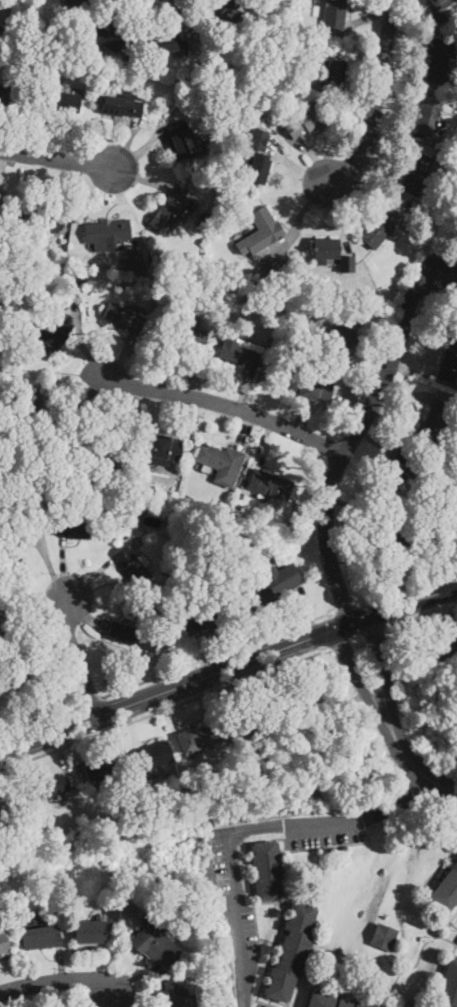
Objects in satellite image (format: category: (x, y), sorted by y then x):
building: (438, 1)
building: (75, 2)
building: (221, 11)
building: (335, 14)
road: (139, 16)
road: (188, 22)
building: (1, 33)
building: (108, 34)
building: (170, 44)
building: (290, 54)
building: (237, 57)
building: (439, 58)
building: (334, 72)
building: (106, 80)
building: (229, 84)
building: (302, 84)
building: (11, 97)
road: (376, 98)
building: (61, 101)
building: (121, 106)
building: (237, 111)
building: (428, 117)
building: (302, 120)
road: (13, 133)
road: (65, 137)
building: (182, 138)
road: (126, 144)
road: (139, 149)
building: (438, 154)
building: (258, 156)
road: (57, 160)
road: (1, 162)
building: (416, 172)
road: (141, 178)
road: (29, 191)
building: (0, 197)
road: (124, 199)
building: (425, 208)
building: (168, 212)
building: (44, 220)
building: (201, 223)
building: (381, 227)
building: (257, 230)
building: (108, 233)
building: (13, 239)
building: (326, 248)
building: (135, 257)
building: (347, 264)
building: (267, 273)
building: (196, 274)
building: (3, 283)
building: (11, 298)
building: (297, 310)
building: (123, 318)
building: (294, 320)
building: (185, 335)
building: (341, 336)
building: (52, 338)
building: (304, 346)
building: (239, 350)
building: (448, 361)
building: (309, 386)
building: (34, 402)
road: (226, 405)
building: (434, 423)
road: (353, 437)
building: (158, 447)
building: (98, 456)
building: (219, 463)
building: (395, 472)
building: (1, 480)
building: (22, 484)
building: (269, 484)
building: (165, 499)
building: (117, 503)
building: (145, 505)
building: (197, 507)
building: (248, 520)
building: (131, 523)
building: (73, 527)
building: (391, 536)
building: (230, 541)
building: (430, 542)
building: (14, 548)
building: (131, 565)
building: (164, 570)
building: (272, 585)
road: (406, 586)
road: (346, 607)
building: (140, 608)
building: (2, 614)
road: (420, 614)
building: (206, 616)
road: (373, 629)
building: (132, 636)
road: (357, 637)
road: (338, 644)
building: (442, 651)
road: (220, 653)
road: (76, 658)
road: (227, 669)
building: (21, 673)
road: (386, 679)
road: (362, 688)
building: (300, 696)
road: (91, 700)
road: (163, 709)
road: (39, 720)
building: (249, 721)
building: (214, 731)
building: (323, 734)
building: (195, 739)
building: (274, 739)
building: (284, 744)
building: (154, 756)
building: (258, 758)
building: (101, 768)
building: (172, 768)
road: (422, 774)
building: (50, 787)
road: (398, 804)
building: (8, 806)
building: (83, 822)
building: (333, 850)
road: (232, 853)
building: (268, 870)
building: (446, 890)
parking lot: (233, 906)
building: (1, 910)
building: (89, 932)
building: (40, 936)
building: (384, 936)
building: (148, 942)
parking lot: (455, 942)
building: (4, 943)
building: (292, 952)
road: (55, 980)
building: (448, 986)
building: (173, 992)
building: (332, 1000)

